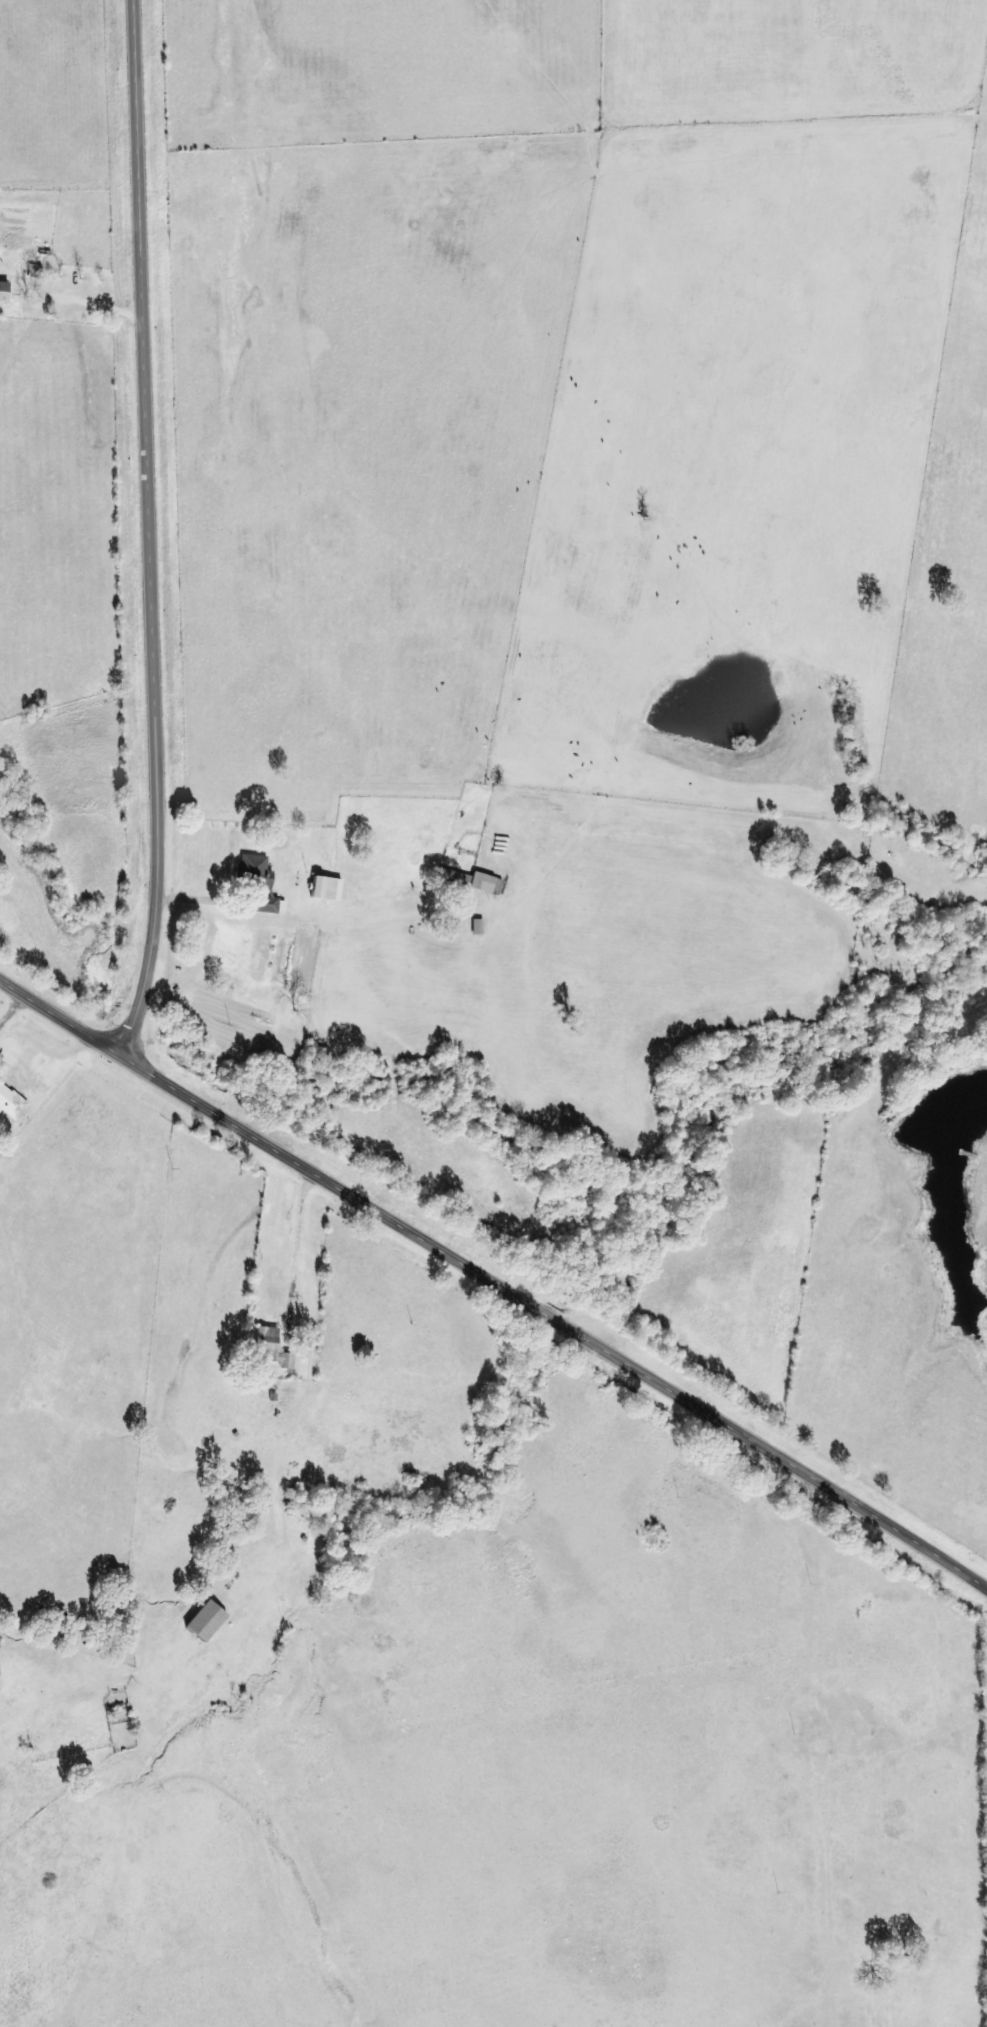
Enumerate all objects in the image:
building: (3, 291)
road: (156, 529)
building: (470, 880)
building: (262, 885)
building: (323, 888)
building: (478, 926)
building: (10, 1102)
road: (493, 1274)
building: (271, 1349)
building: (205, 1621)

